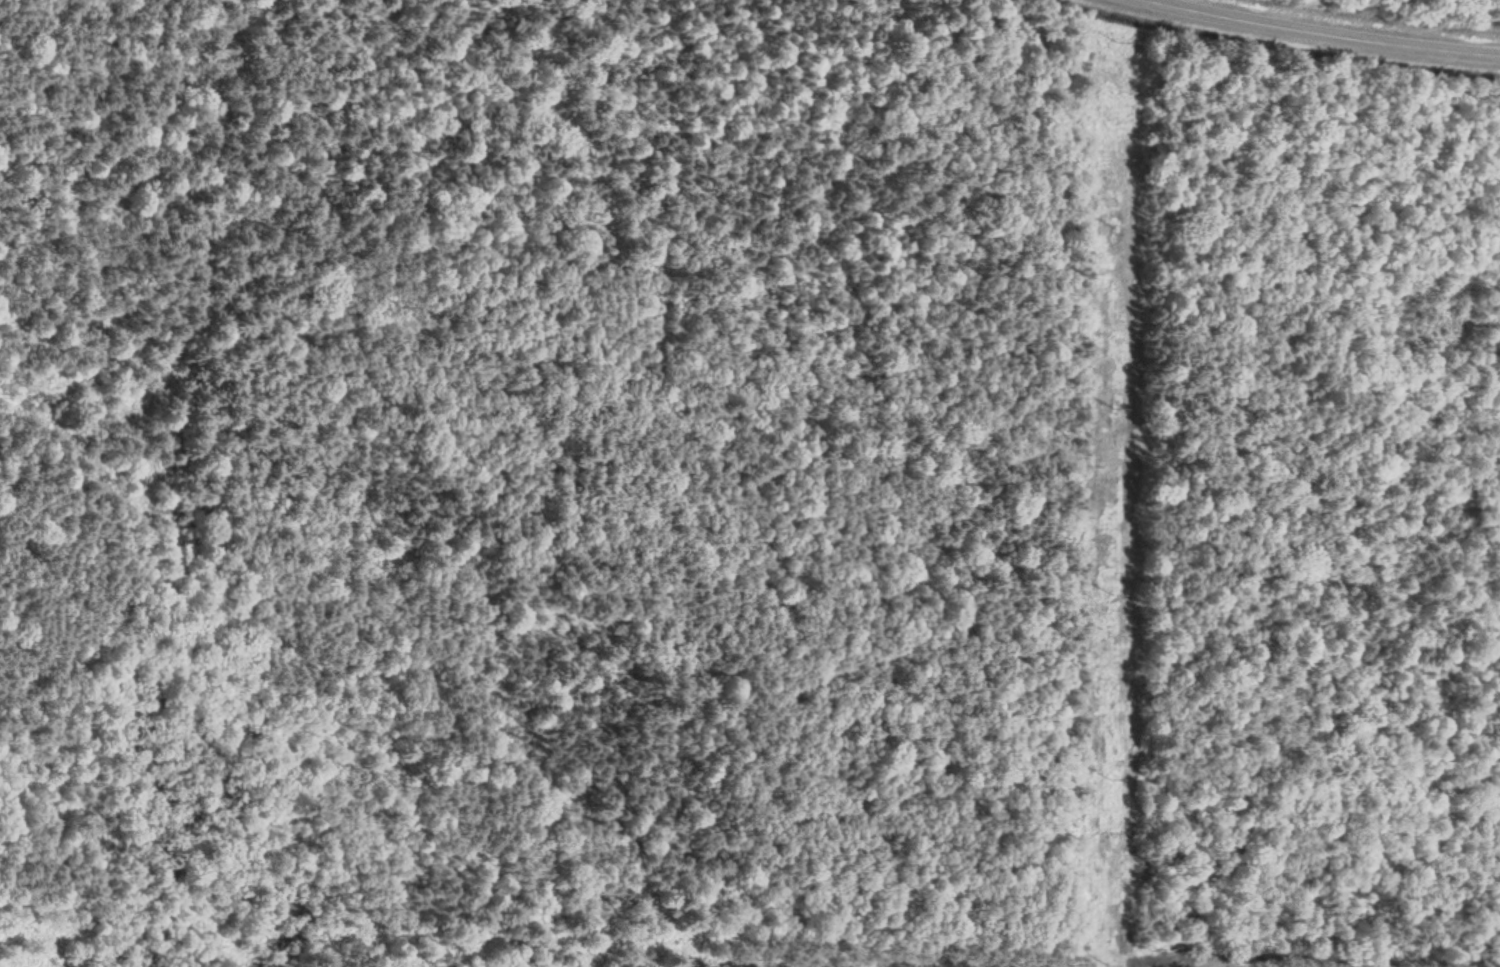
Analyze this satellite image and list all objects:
road: (1320, 33)

